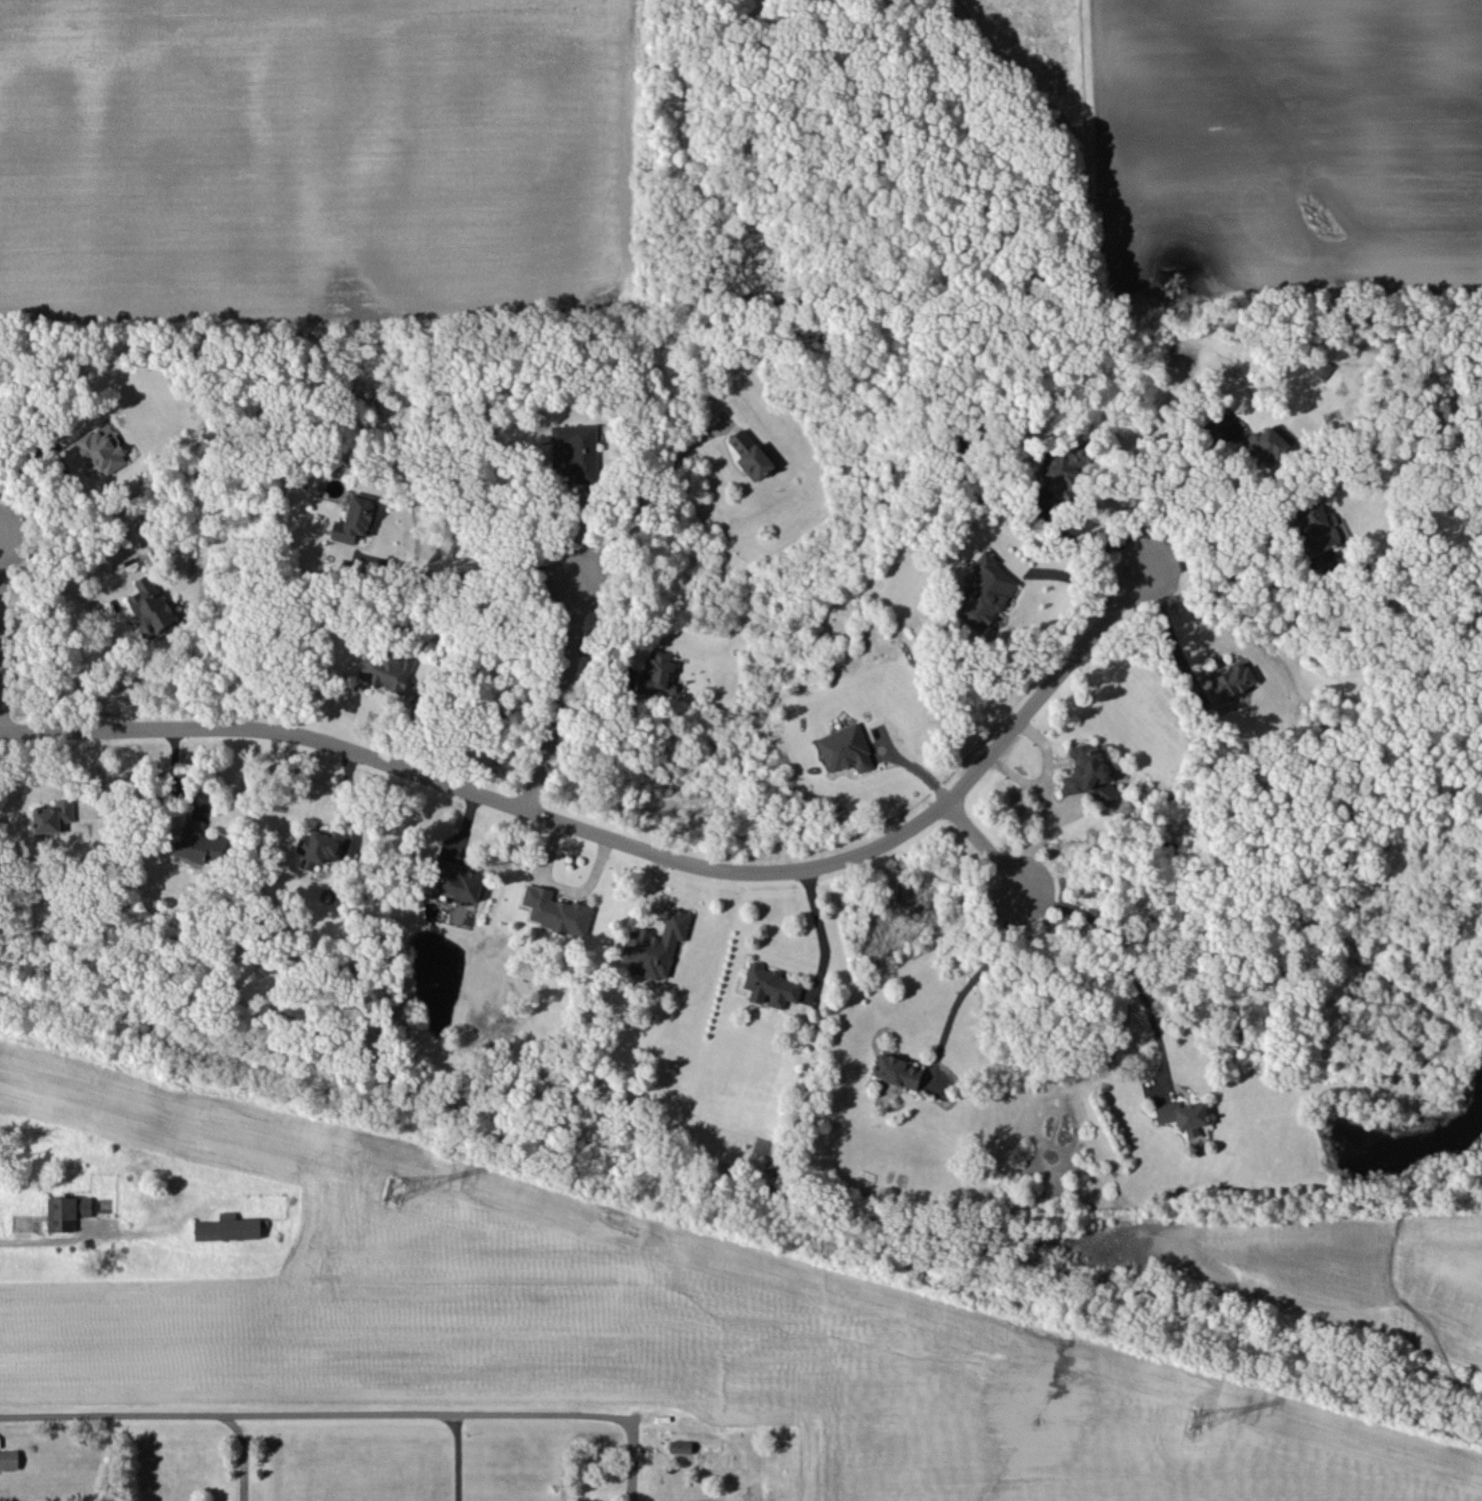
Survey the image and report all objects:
building: (1266, 444)
building: (102, 451)
building: (577, 452)
building: (750, 454)
building: (1068, 470)
road: (629, 482)
road: (1176, 499)
building: (356, 518)
building: (1316, 527)
road: (1, 531)
road: (1, 542)
road: (1081, 546)
road: (1234, 571)
road: (463, 575)
road: (1069, 577)
road: (46, 578)
building: (986, 591)
building: (151, 608)
road: (1164, 639)
building: (386, 670)
building: (657, 671)
building: (1228, 681)
road: (555, 691)
road: (2, 722)
building: (845, 749)
building: (1089, 774)
building: (53, 816)
road: (985, 840)
road: (621, 841)
building: (198, 844)
building: (319, 847)
building: (458, 882)
building: (556, 911)
road: (817, 920)
building: (656, 946)
road: (1119, 952)
road: (973, 959)
building: (770, 986)
building: (897, 1071)
building: (1184, 1116)
power tower: (400, 1191)
building: (67, 1212)
building: (228, 1227)
road: (37, 1238)
road: (354, 1412)
power tower: (1194, 1419)
building: (680, 1446)
road: (243, 1452)
road: (454, 1456)
building: (9, 1459)

